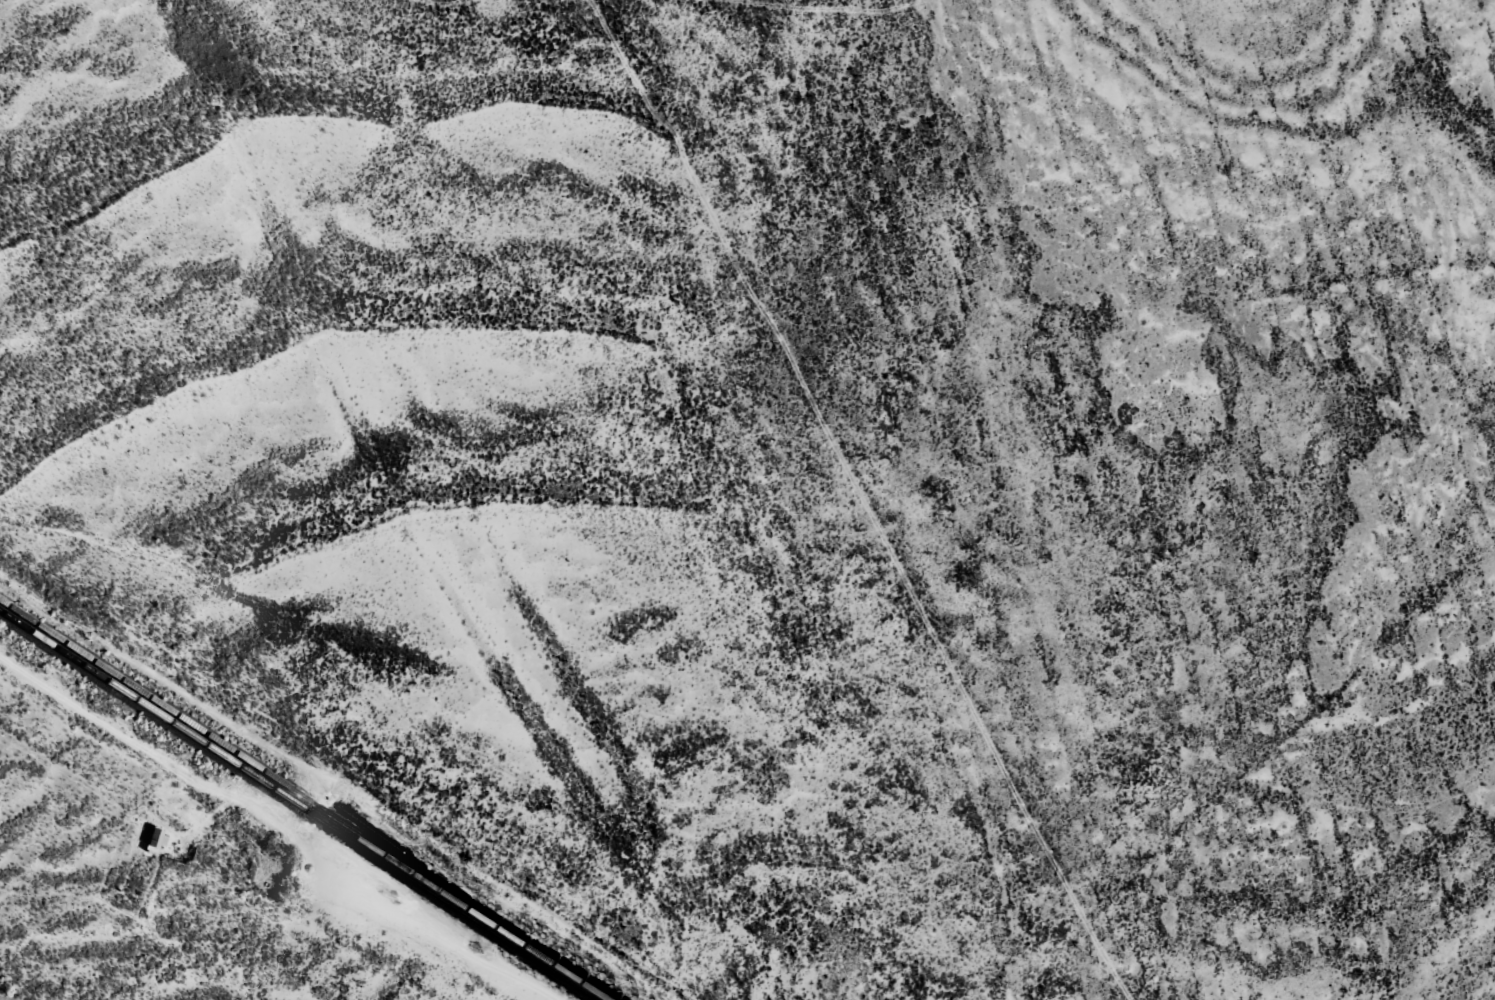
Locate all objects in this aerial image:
railway: (307, 802)
railway: (299, 808)
building: (155, 841)

